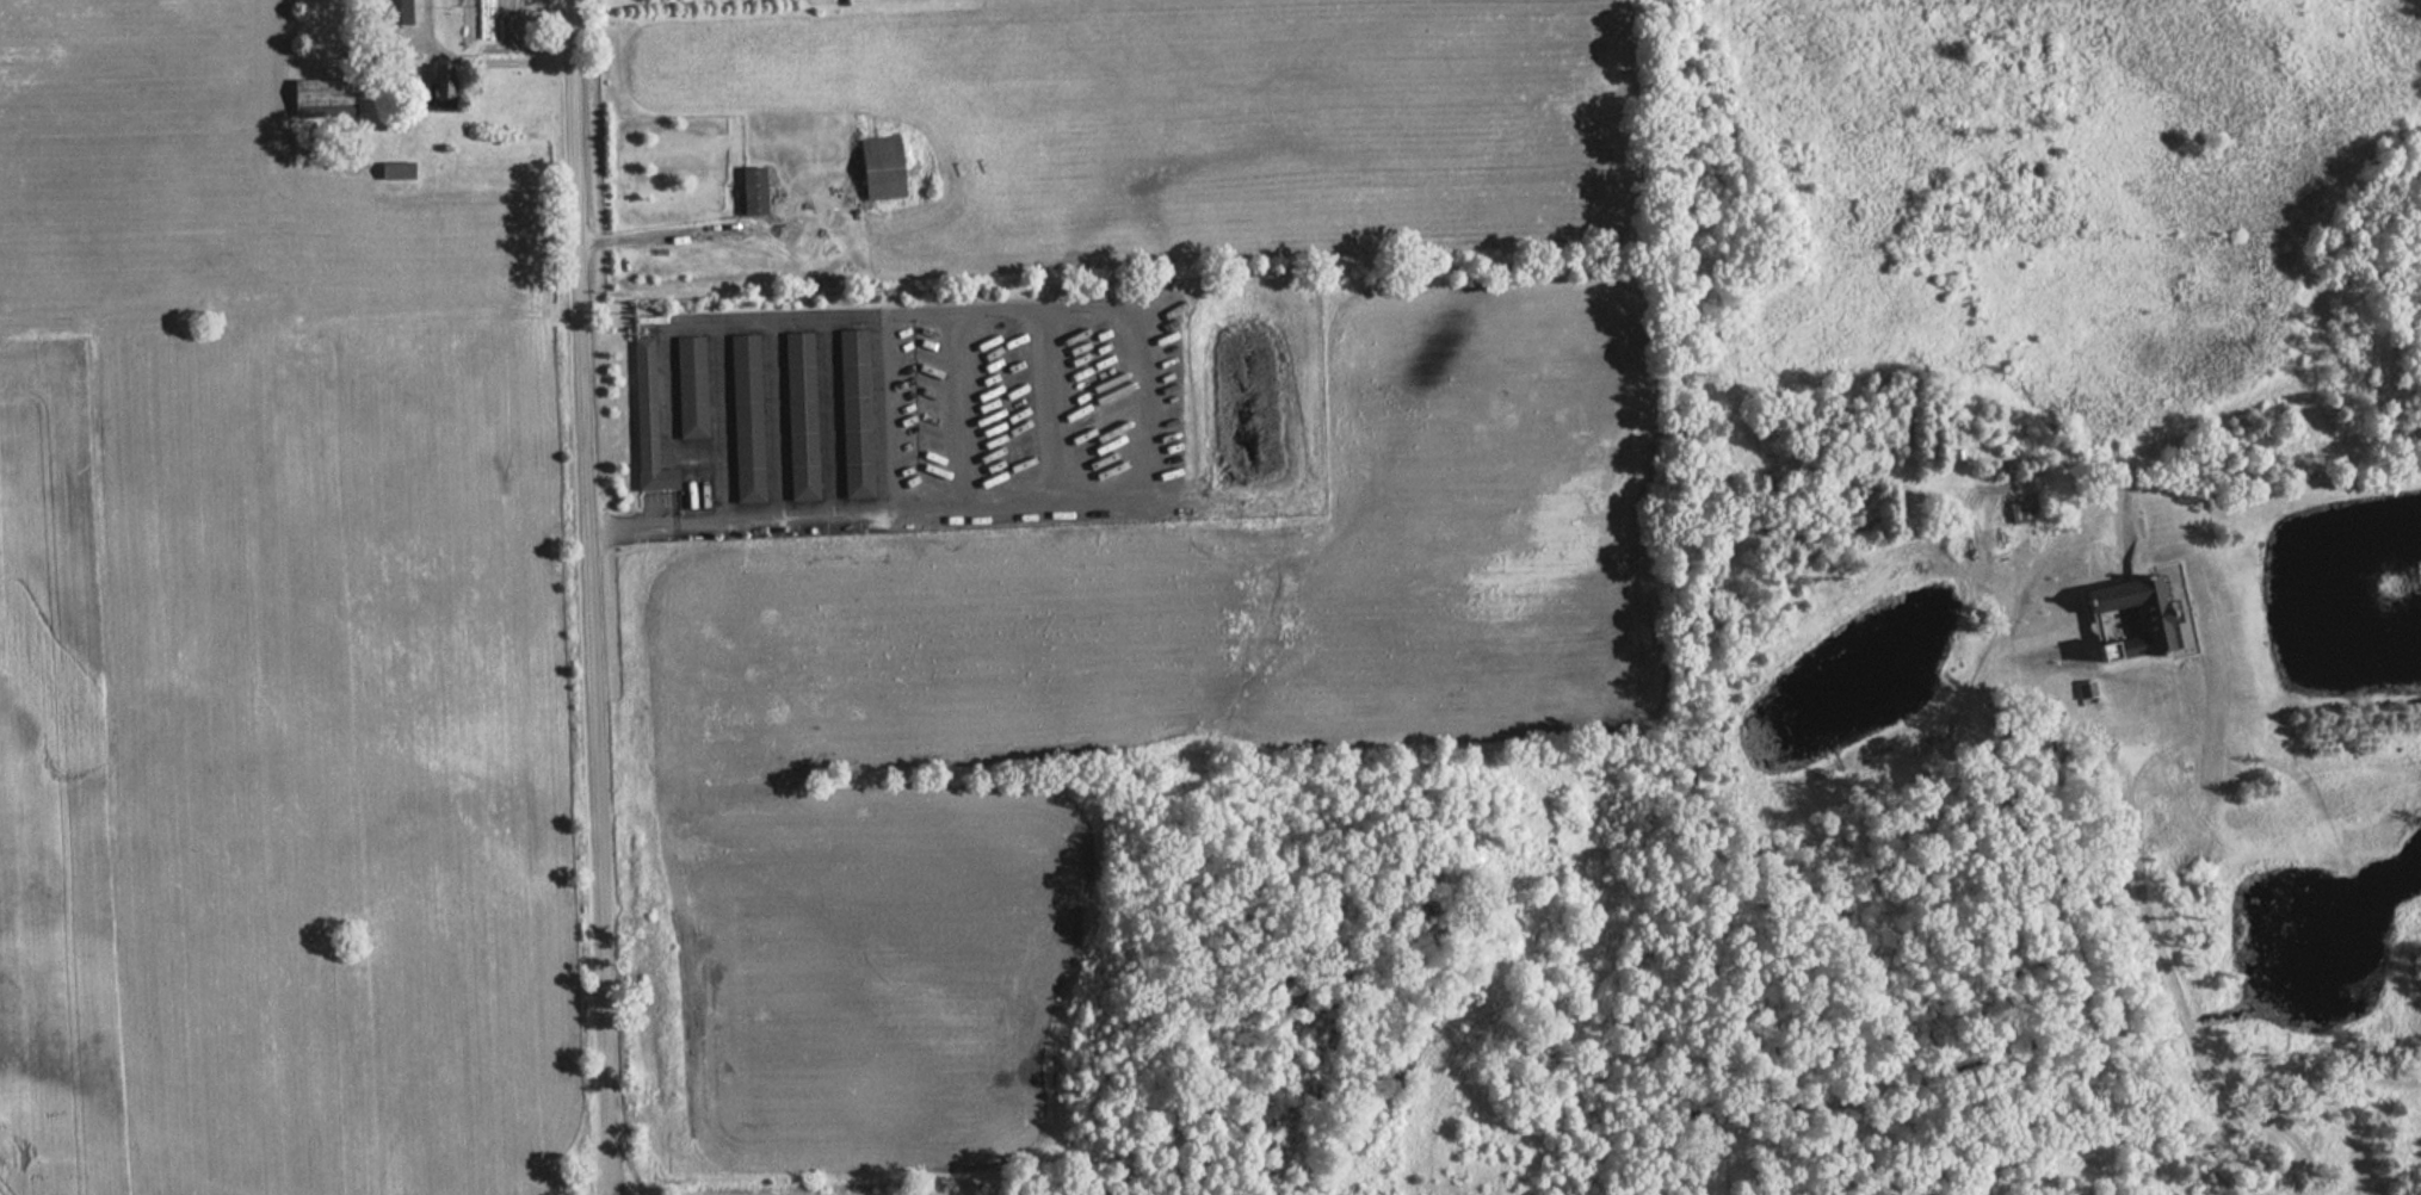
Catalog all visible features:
building: (396, 11)
building: (445, 87)
building: (326, 97)
building: (885, 168)
building: (400, 171)
building: (756, 190)
road: (650, 236)
building: (690, 377)
building: (854, 402)
building: (799, 404)
building: (646, 407)
building: (745, 408)
road: (589, 597)
building: (2124, 611)
crop: (1142, 694)
crop: (56, 790)
road: (2163, 964)

